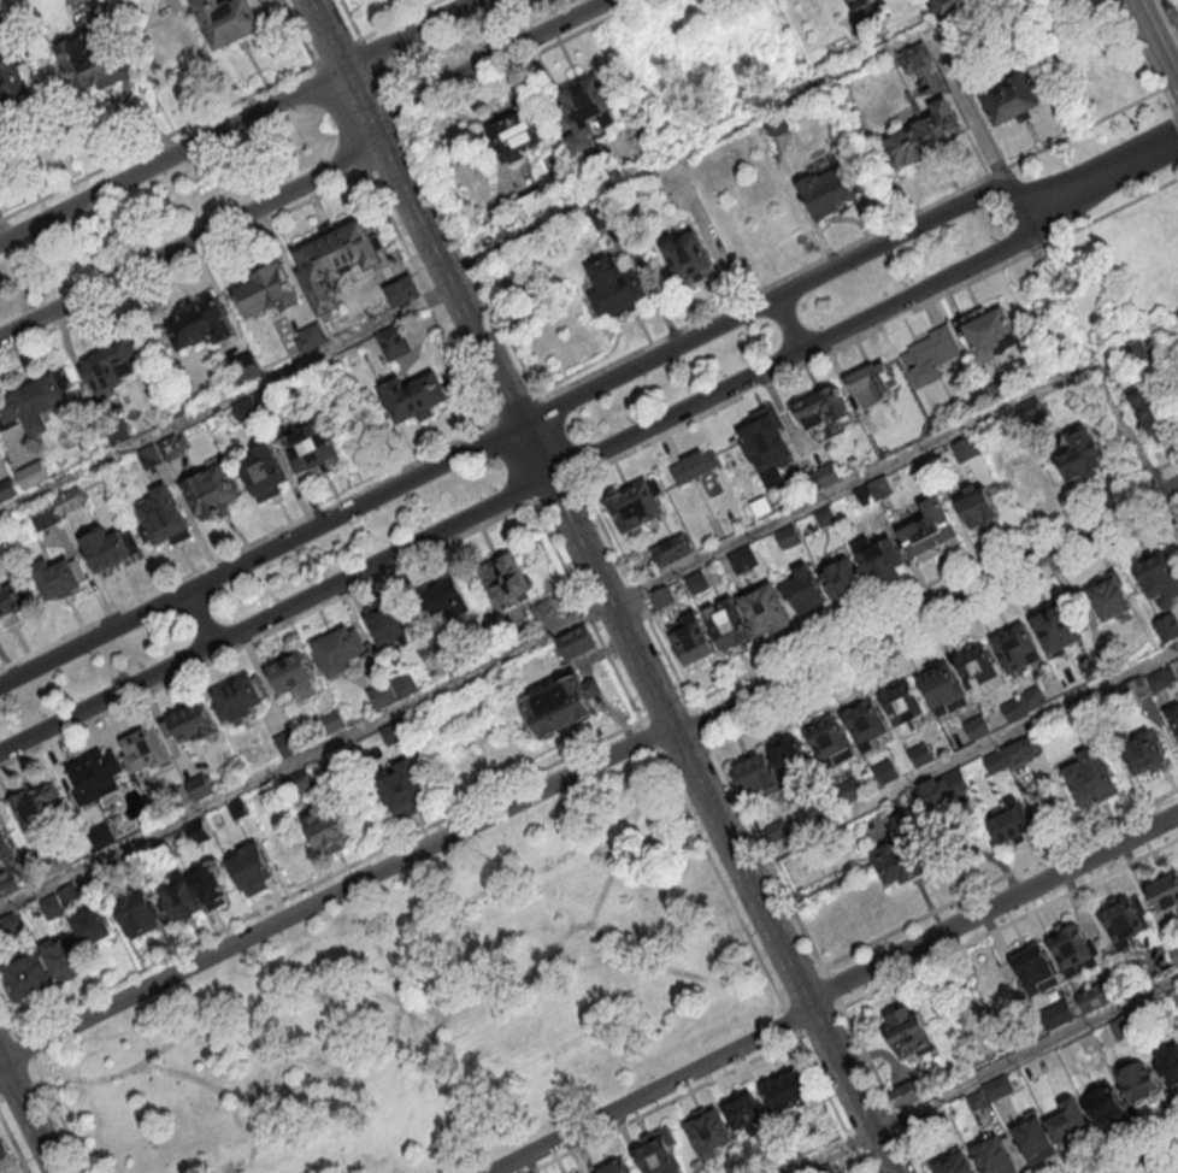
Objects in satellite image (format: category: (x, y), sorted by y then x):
building: (856, 2)
building: (949, 6)
road: (1161, 11)
building: (230, 19)
road: (352, 19)
road: (397, 20)
building: (1, 25)
road: (298, 31)
road: (323, 33)
road: (1172, 34)
road: (337, 51)
road: (1145, 55)
building: (913, 58)
building: (94, 59)
road: (485, 59)
road: (523, 60)
building: (16, 92)
road: (355, 93)
building: (1012, 101)
road: (1174, 104)
road: (967, 110)
building: (585, 111)
road: (1176, 117)
road: (235, 120)
building: (778, 123)
building: (518, 132)
building: (929, 135)
road: (159, 140)
road: (685, 149)
road: (1126, 161)
building: (827, 193)
building: (536, 202)
building: (611, 212)
road: (194, 238)
road: (852, 244)
building: (689, 255)
building: (337, 260)
road: (472, 260)
road: (185, 261)
park: (1102, 283)
road: (793, 287)
building: (617, 288)
building: (266, 289)
building: (404, 290)
road: (432, 295)
building: (201, 322)
road: (785, 324)
road: (879, 329)
building: (989, 332)
building: (313, 337)
building: (394, 343)
building: (1132, 355)
building: (931, 356)
building: (110, 364)
building: (247, 369)
building: (873, 384)
building: (1001, 391)
building: (414, 395)
road: (225, 399)
building: (35, 400)
building: (266, 401)
road: (517, 408)
building: (247, 409)
building: (823, 409)
building: (1155, 411)
building: (1031, 413)
traffic signals: (522, 423)
road: (1130, 426)
building: (118, 432)
road: (561, 438)
building: (768, 444)
building: (175, 448)
building: (312, 449)
building: (967, 450)
building: (1080, 456)
building: (152, 458)
road: (508, 464)
building: (695, 467)
building: (264, 473)
building: (34, 474)
building: (829, 474)
traffic signals: (548, 476)
road: (544, 477)
building: (1021, 477)
road: (559, 488)
building: (882, 488)
building: (8, 491)
building: (212, 493)
building: (865, 496)
building: (72, 501)
road: (1170, 507)
building: (636, 508)
building: (980, 508)
building: (46, 514)
building: (826, 518)
building: (164, 519)
building: (931, 530)
building: (788, 538)
road: (247, 547)
building: (107, 550)
road: (260, 552)
building: (672, 552)
building: (744, 561)
building: (880, 561)
building: (58, 579)
building: (505, 579)
building: (844, 580)
road: (933, 580)
building: (1159, 582)
building: (699, 583)
building: (805, 590)
road: (637, 595)
building: (1111, 597)
building: (446, 599)
building: (662, 599)
building: (11, 606)
road: (585, 611)
building: (766, 611)
road: (925, 611)
building: (546, 614)
road: (201, 615)
building: (391, 625)
building: (729, 627)
road: (944, 627)
building: (1058, 627)
building: (1168, 629)
road: (269, 631)
road: (548, 635)
building: (693, 642)
building: (576, 643)
road: (630, 647)
building: (1017, 649)
building: (340, 653)
building: (1108, 665)
building: (979, 672)
building: (295, 678)
building: (1162, 680)
building: (406, 686)
building: (942, 689)
building: (1137, 690)
building: (383, 697)
building: (1035, 699)
building: (238, 701)
building: (559, 708)
building: (905, 708)
building: (1015, 711)
building: (1174, 717)
building: (335, 723)
road: (701, 724)
building: (867, 725)
building: (193, 726)
building: (978, 730)
building: (393, 735)
road: (648, 737)
building: (831, 743)
building: (289, 745)
building: (147, 751)
building: (1142, 751)
building: (1023, 753)
building: (789, 756)
building: (921, 756)
road: (959, 760)
building: (996, 764)
building: (888, 773)
building: (98, 777)
building: (759, 777)
building: (1091, 778)
building: (300, 784)
building: (201, 790)
building: (404, 790)
building: (852, 792)
building: (943, 792)
building: (179, 800)
building: (35, 808)
building: (240, 811)
building: (809, 813)
building: (1012, 824)
building: (326, 829)
building: (778, 831)
building: (200, 832)
building: (102, 838)
building: (5, 847)
building: (159, 850)
building: (908, 850)
road: (765, 851)
building: (53, 863)
building: (252, 871)
road: (330, 876)
road: (1000, 879)
building: (110, 880)
road: (721, 882)
building: (10, 885)
building: (211, 885)
road: (331, 894)
building: (1166, 894)
building: (71, 895)
building: (183, 902)
building: (53, 907)
building: (139, 915)
road: (1009, 924)
building: (1124, 924)
building: (13, 926)
building: (95, 930)
building: (1071, 950)
building: (1174, 955)
building: (65, 961)
building: (1036, 972)
building: (30, 977)
road: (831, 989)
road: (832, 989)
building: (1096, 998)
park: (435, 1006)
road: (10, 1012)
building: (1059, 1016)
road: (819, 1021)
road: (790, 1022)
building: (1125, 1028)
building: (912, 1036)
road: (10, 1037)
road: (25, 1045)
road: (1024, 1055)
building: (1170, 1067)
building: (1139, 1085)
road: (20, 1089)
road: (882, 1090)
building: (999, 1090)
building: (790, 1095)
building: (909, 1096)
road: (659, 1103)
road: (830, 1103)
building: (977, 1103)
building: (1103, 1106)
building: (747, 1114)
road: (26, 1115)
road: (60, 1116)
building: (923, 1126)
building: (1070, 1126)
building: (709, 1134)
building: (1035, 1142)
road: (14, 1143)
road: (1123, 1145)
road: (830, 1151)
building: (659, 1154)
road: (1145, 1156)
building: (782, 1157)
building: (993, 1157)
building: (6, 1160)
building: (955, 1166)
building: (615, 1169)
building: (826, 1171)
road: (1174, 1171)

